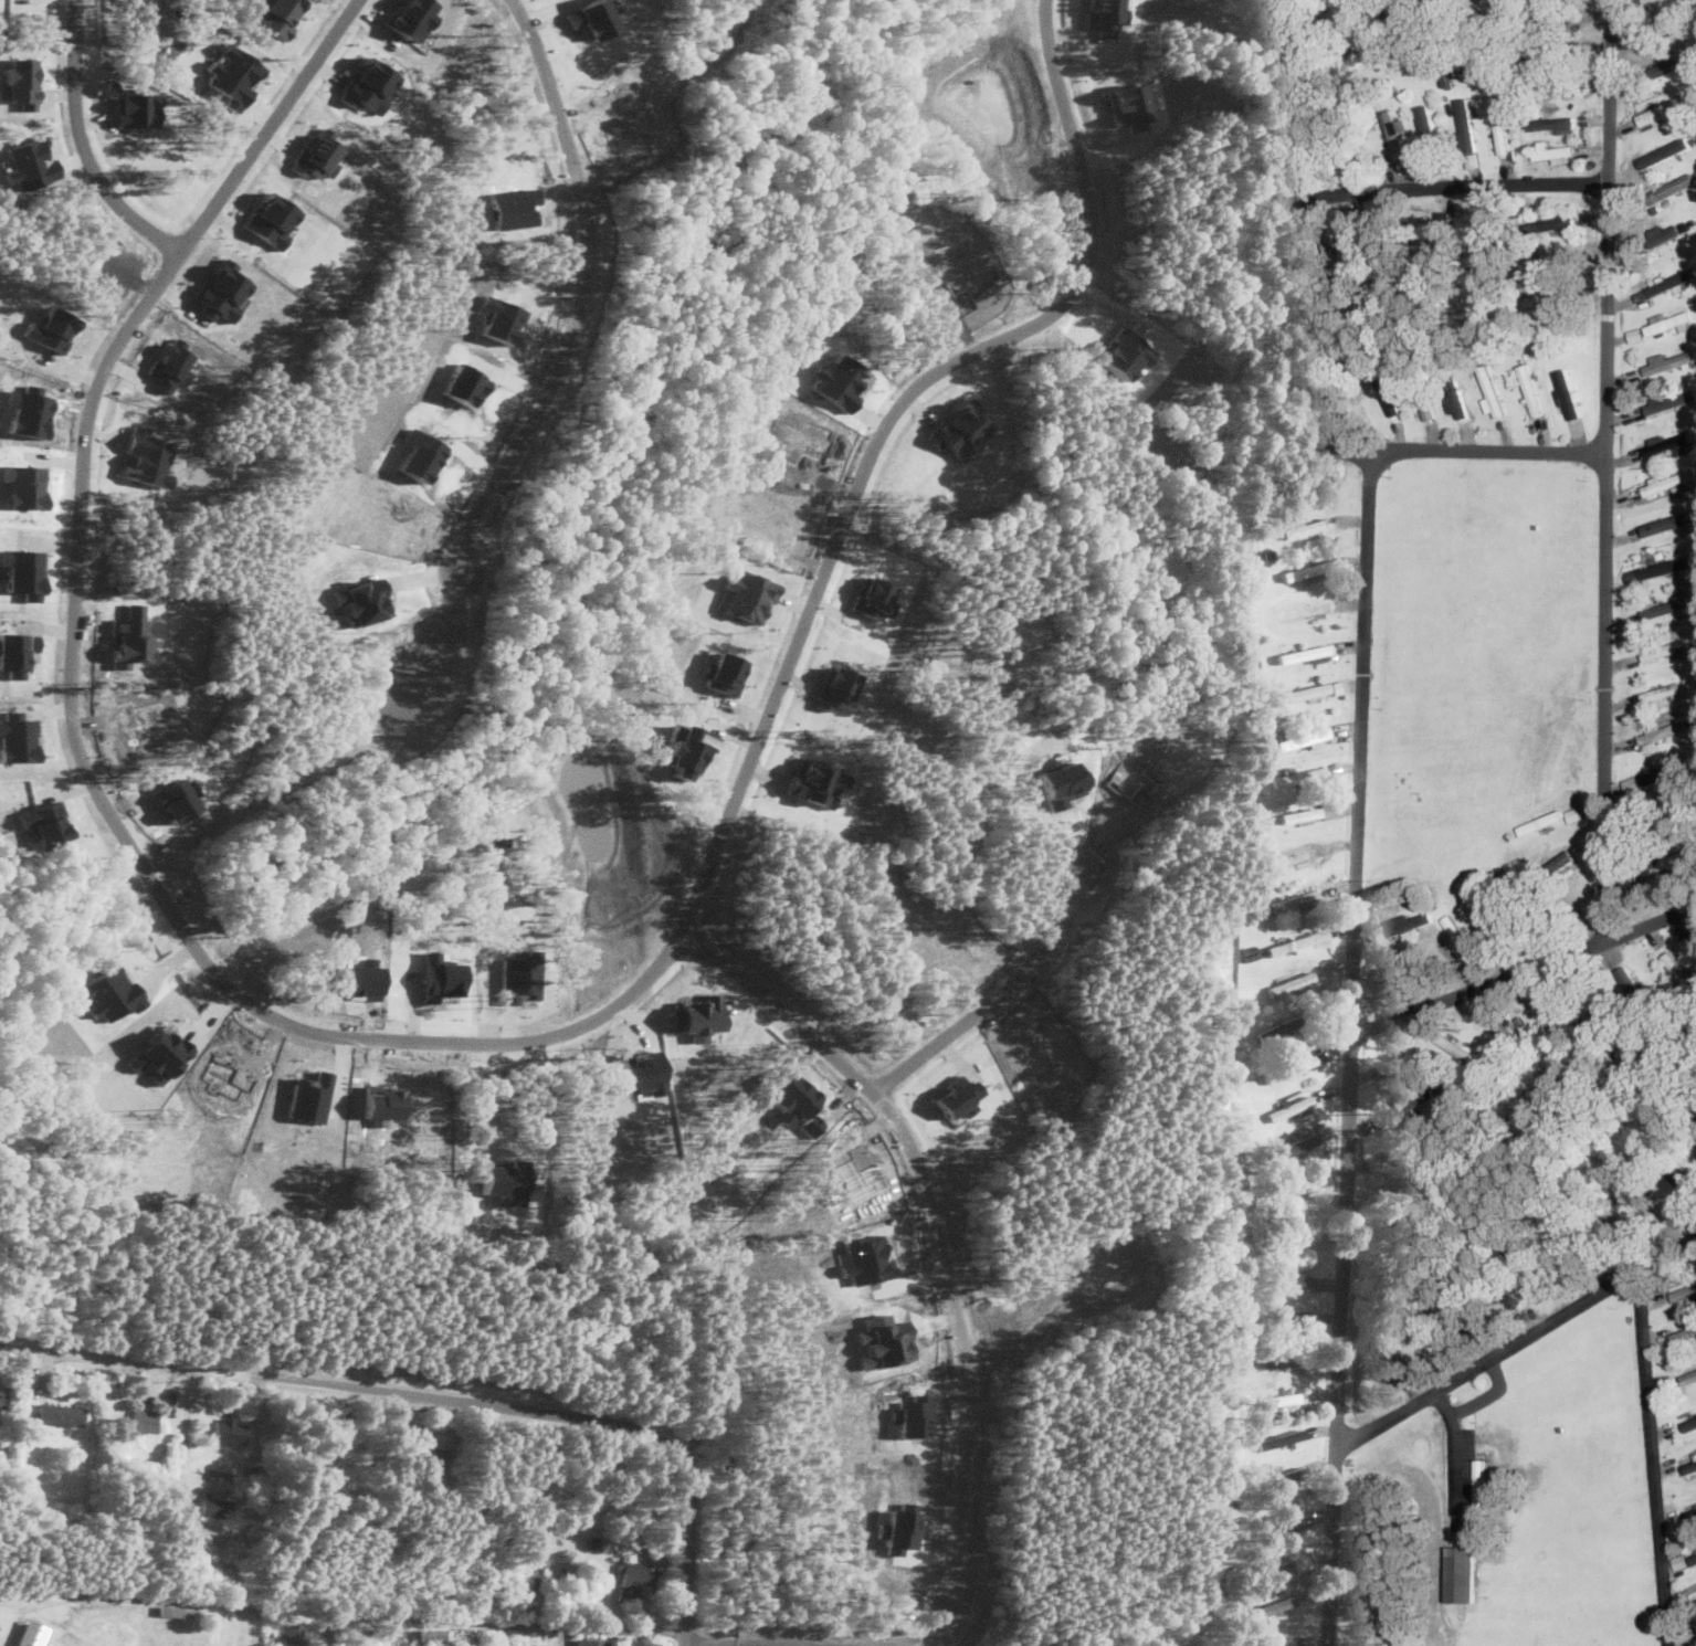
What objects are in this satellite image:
building: (1645, 0)
building: (276, 13)
building: (409, 18)
building: (1673, 64)
building: (232, 74)
building: (19, 81)
building: (368, 83)
building: (131, 104)
building: (1664, 108)
building: (1552, 123)
building: (1428, 124)
building: (1502, 129)
building: (1466, 134)
road: (83, 143)
road: (249, 150)
building: (1553, 151)
building: (1664, 151)
building: (29, 162)
road: (1457, 186)
building: (1674, 187)
building: (270, 219)
building: (1663, 233)
building: (1671, 281)
building: (220, 289)
road: (582, 295)
building: (1668, 321)
building: (1635, 334)
building: (1668, 360)
building: (1531, 389)
building: (1568, 394)
building: (1388, 395)
building: (1669, 401)
building: (1460, 407)
building: (1667, 443)
road: (1447, 452)
building: (144, 456)
road: (1610, 468)
building: (1667, 481)
building: (1669, 523)
building: (1306, 527)
building: (1667, 566)
building: (33, 567)
building: (1307, 570)
building: (1665, 608)
building: (1304, 610)
building: (1669, 648)
building: (15, 652)
building: (1304, 652)
building: (1338, 686)
building: (1306, 690)
building: (1662, 692)
building: (1663, 729)
building: (1302, 738)
building: (1297, 775)
building: (1314, 811)
building: (1298, 856)
building: (1560, 859)
building: (1294, 899)
building: (1408, 922)
building: (1458, 936)
building: (1291, 942)
road: (1526, 967)
building: (1291, 982)
road: (998, 993)
road: (625, 995)
building: (1278, 1027)
road: (1353, 1049)
building: (161, 1052)
building: (1287, 1067)
building: (307, 1098)
building: (1285, 1106)
building: (1390, 1114)
building: (1286, 1146)
building: (1686, 1189)
road: (927, 1215)
building: (1285, 1280)
building: (1286, 1316)
road: (1517, 1343)
road: (3, 1347)
building: (1281, 1358)
building: (1688, 1376)
road: (1488, 1395)
building: (2, 1396)
building: (1277, 1399)
road: (454, 1400)
building: (59, 1413)
building: (144, 1420)
building: (1689, 1424)
building: (227, 1429)
building: (1281, 1437)
parking lot: (1467, 1449)
road: (1456, 1450)
road: (1652, 1462)
building: (1689, 1466)
building: (1287, 1476)
building: (1482, 1481)
building: (213, 1505)
building: (1275, 1519)
building: (1693, 1558)
building: (1274, 1569)
building: (1464, 1572)
building: (631, 1579)
building: (1268, 1607)
road: (571, 1625)
building: (293, 1632)
building: (430, 1634)
building: (590, 1642)
building: (1282, 1643)

